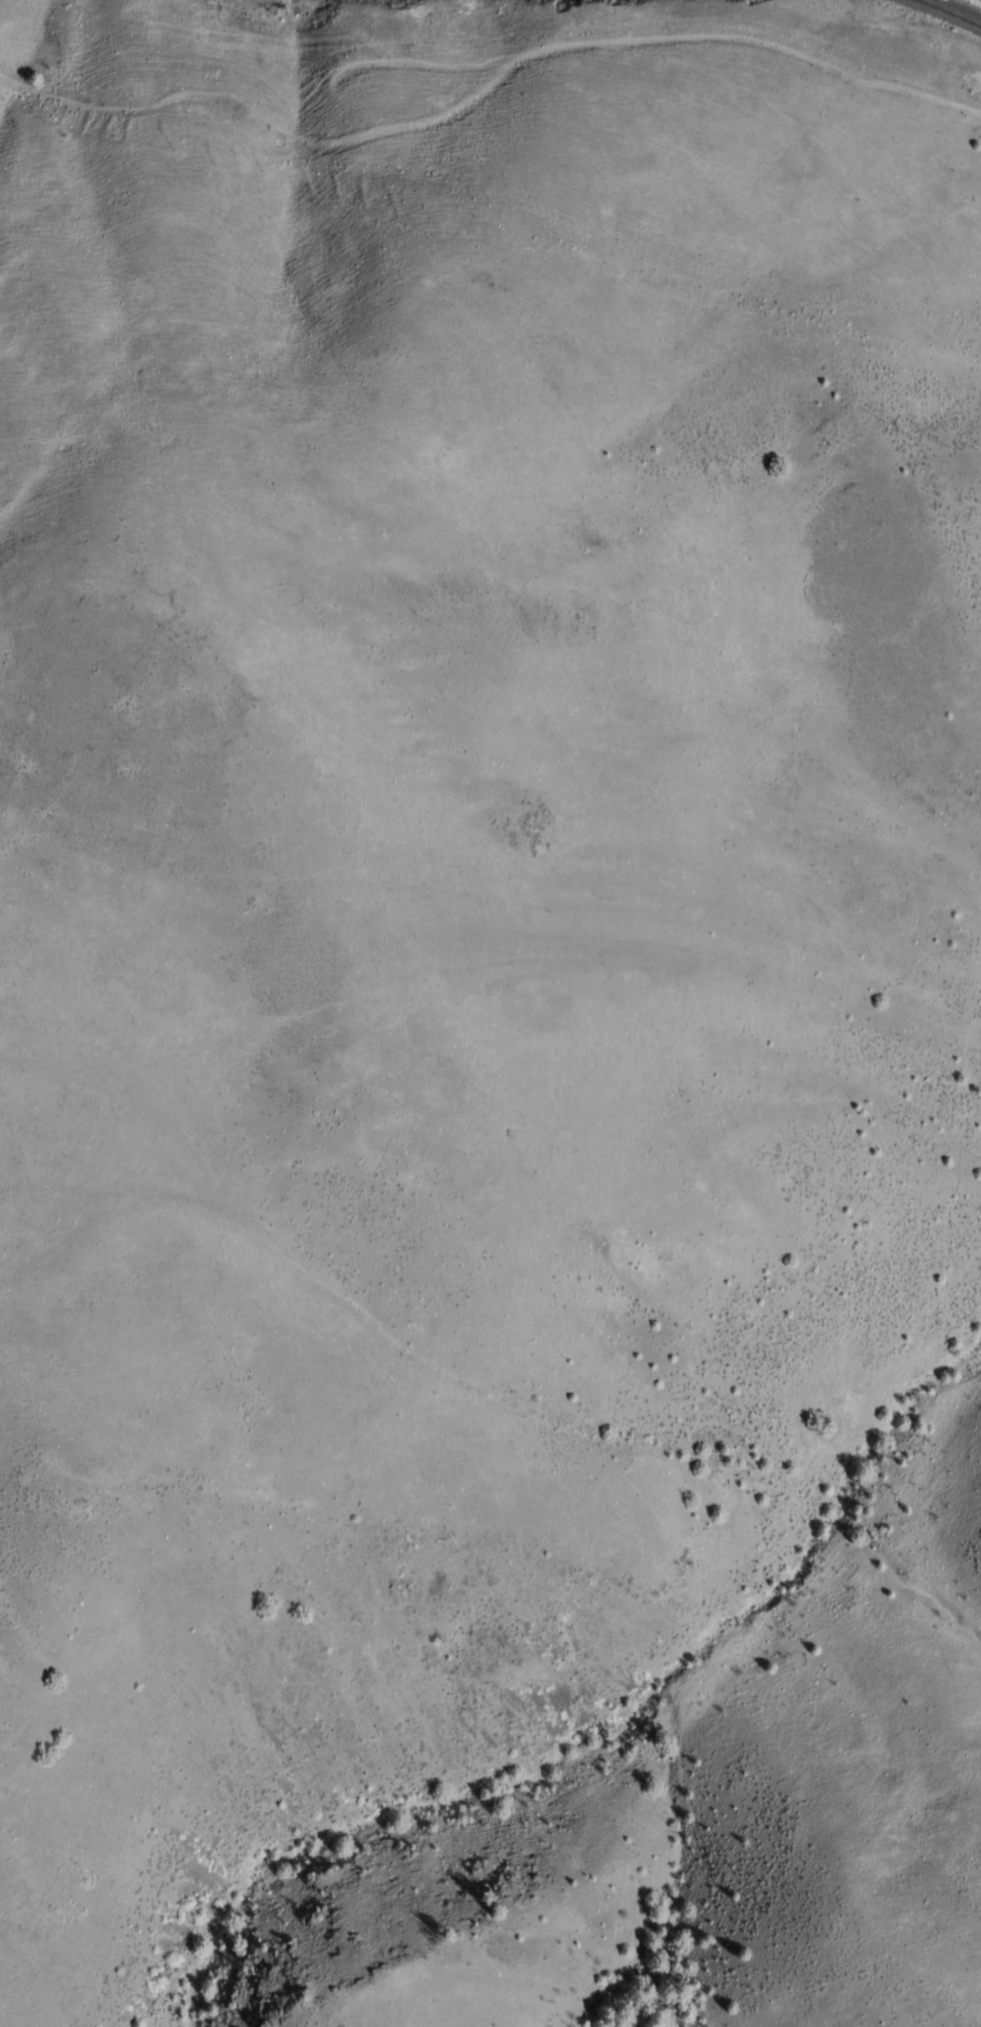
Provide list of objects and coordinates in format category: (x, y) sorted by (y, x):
railway: (950, 14)

